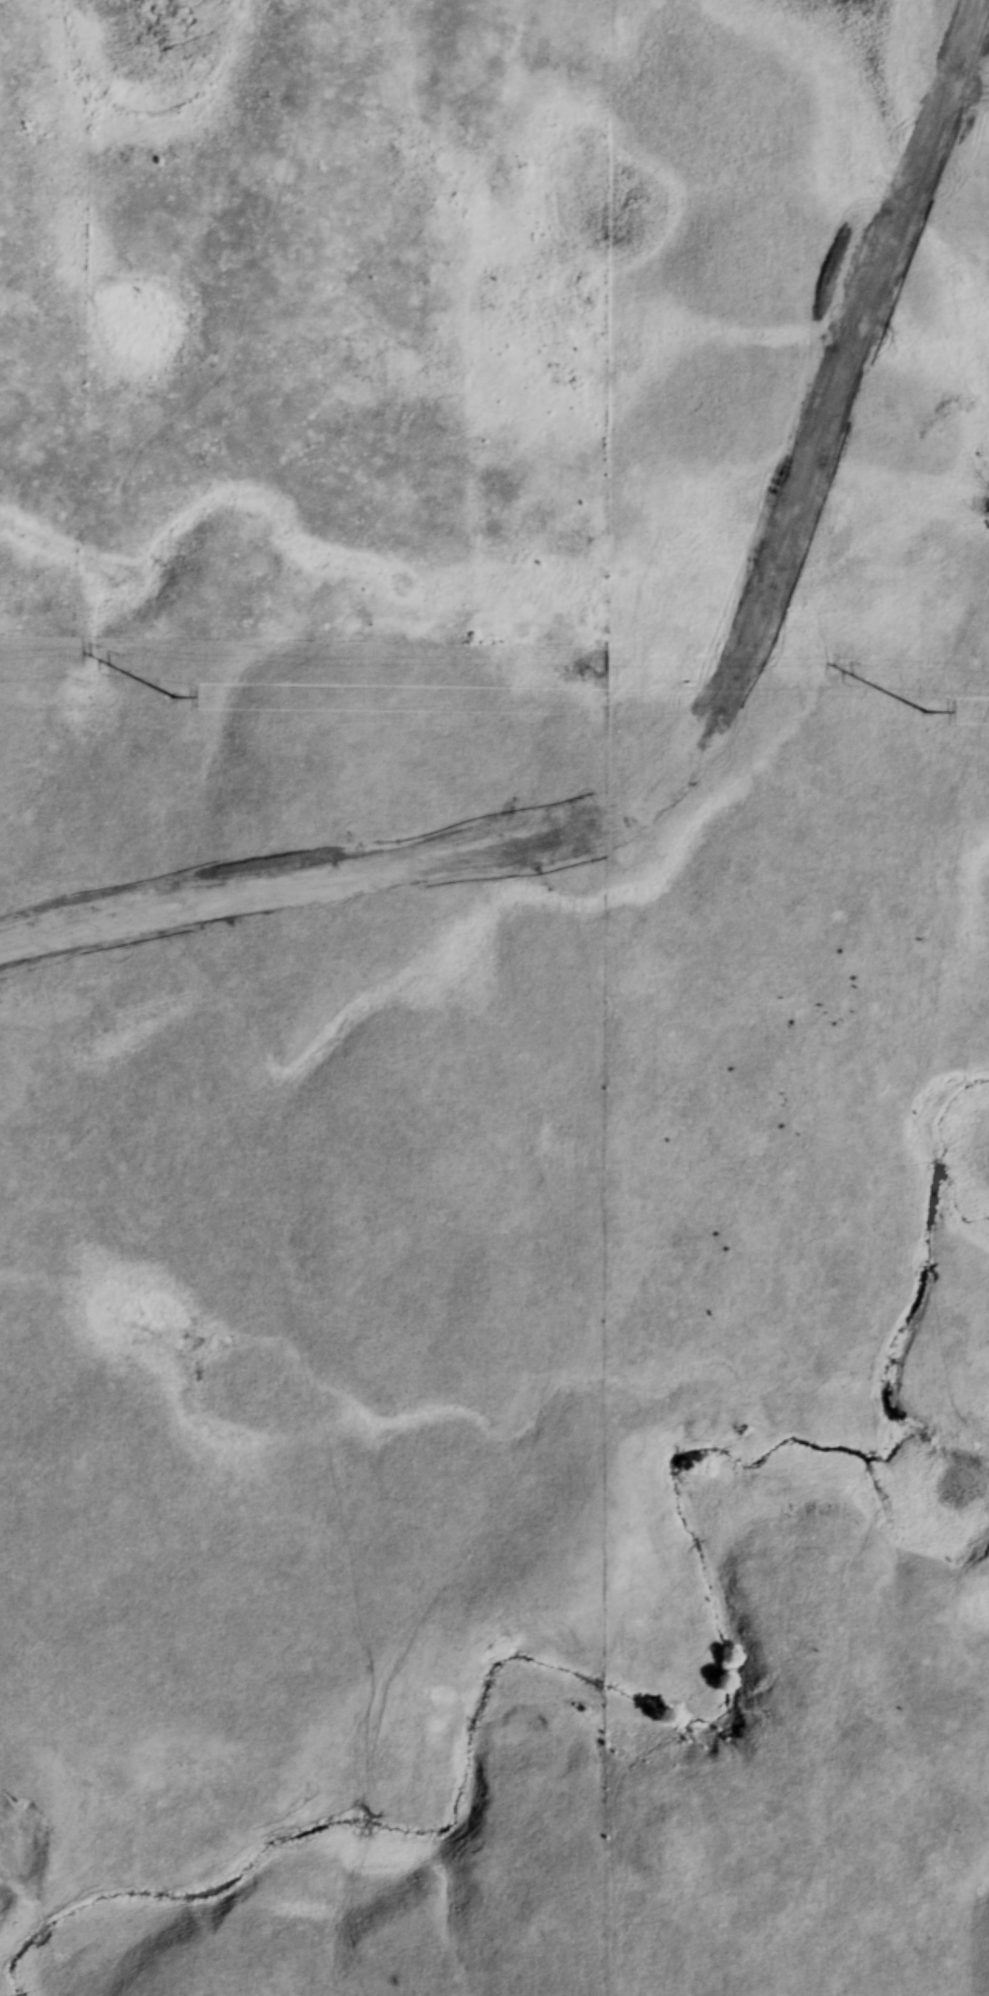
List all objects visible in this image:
power tower: (176, 700)
power tower: (926, 709)
river: (956, 1495)

